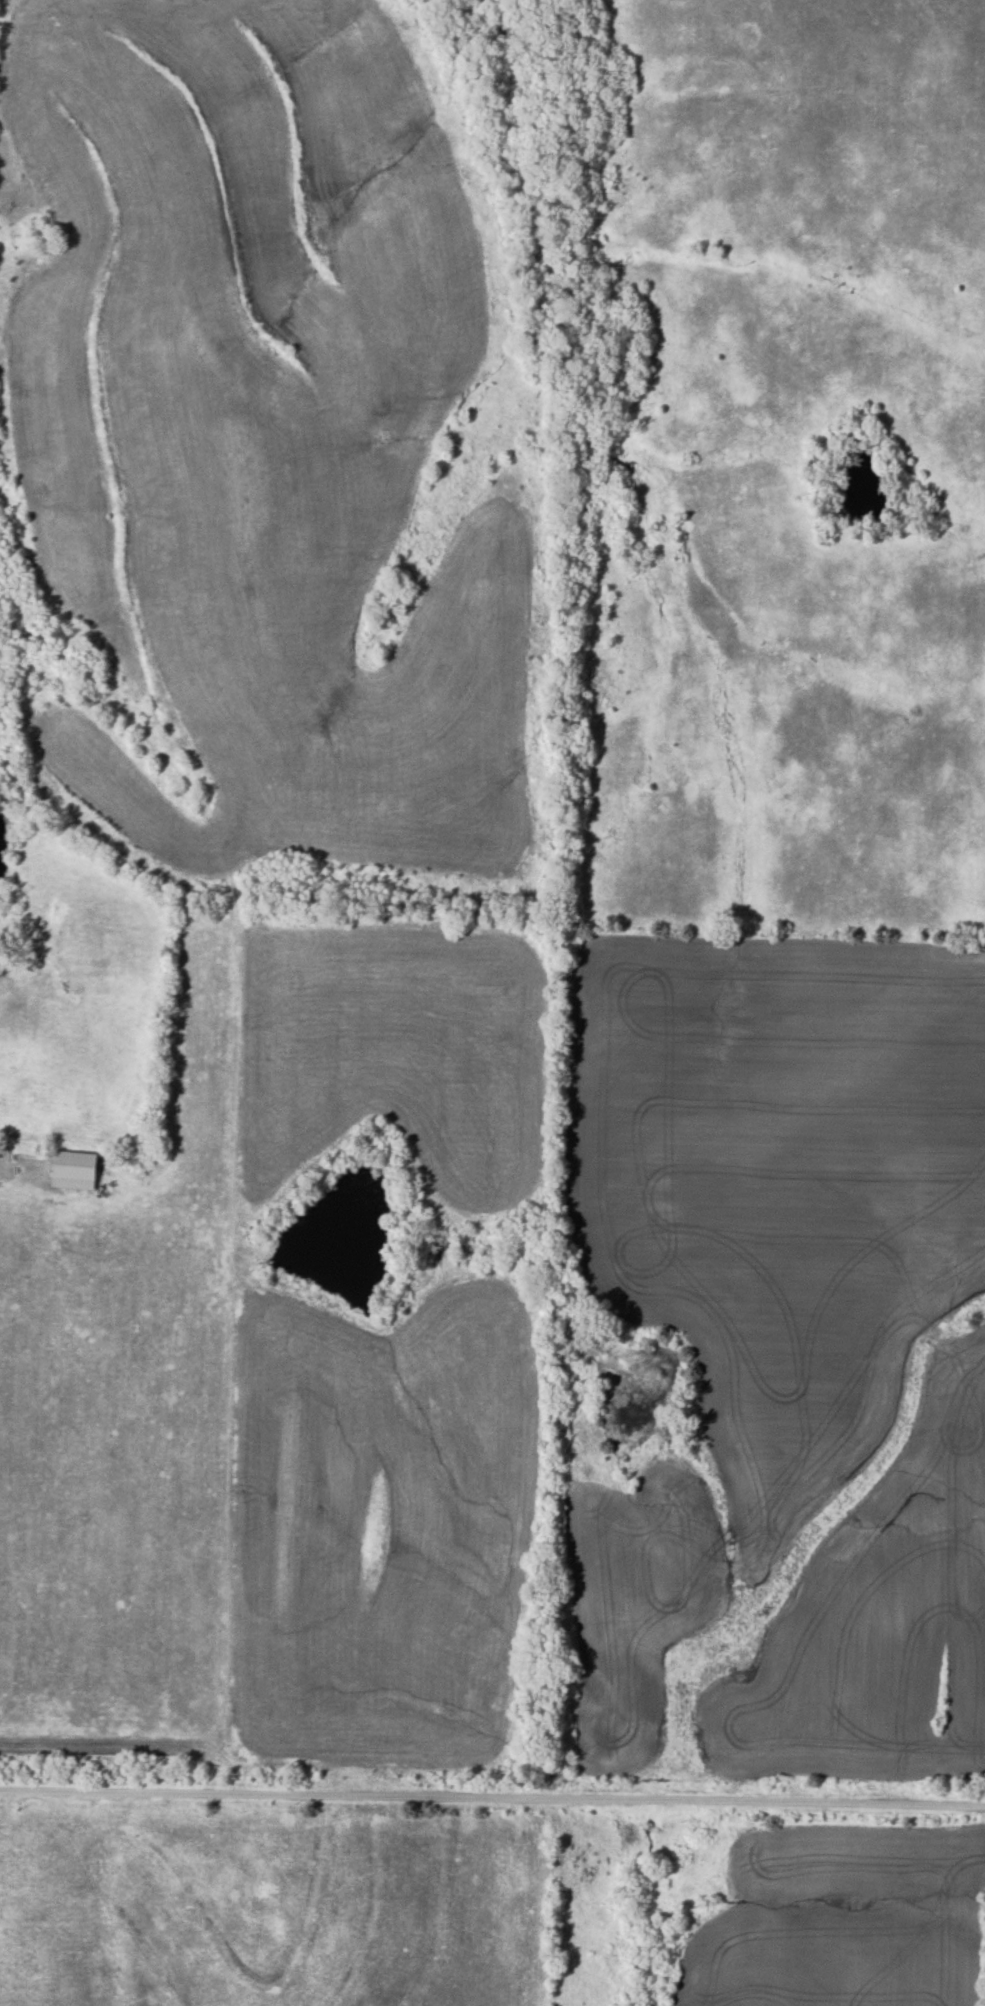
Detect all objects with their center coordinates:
road: (492, 1849)

